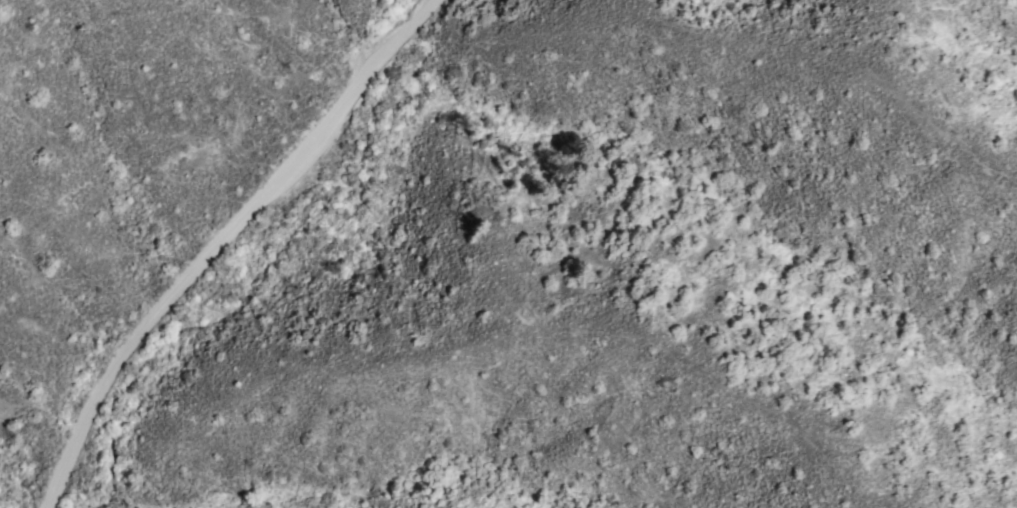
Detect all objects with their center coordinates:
road: (219, 238)

